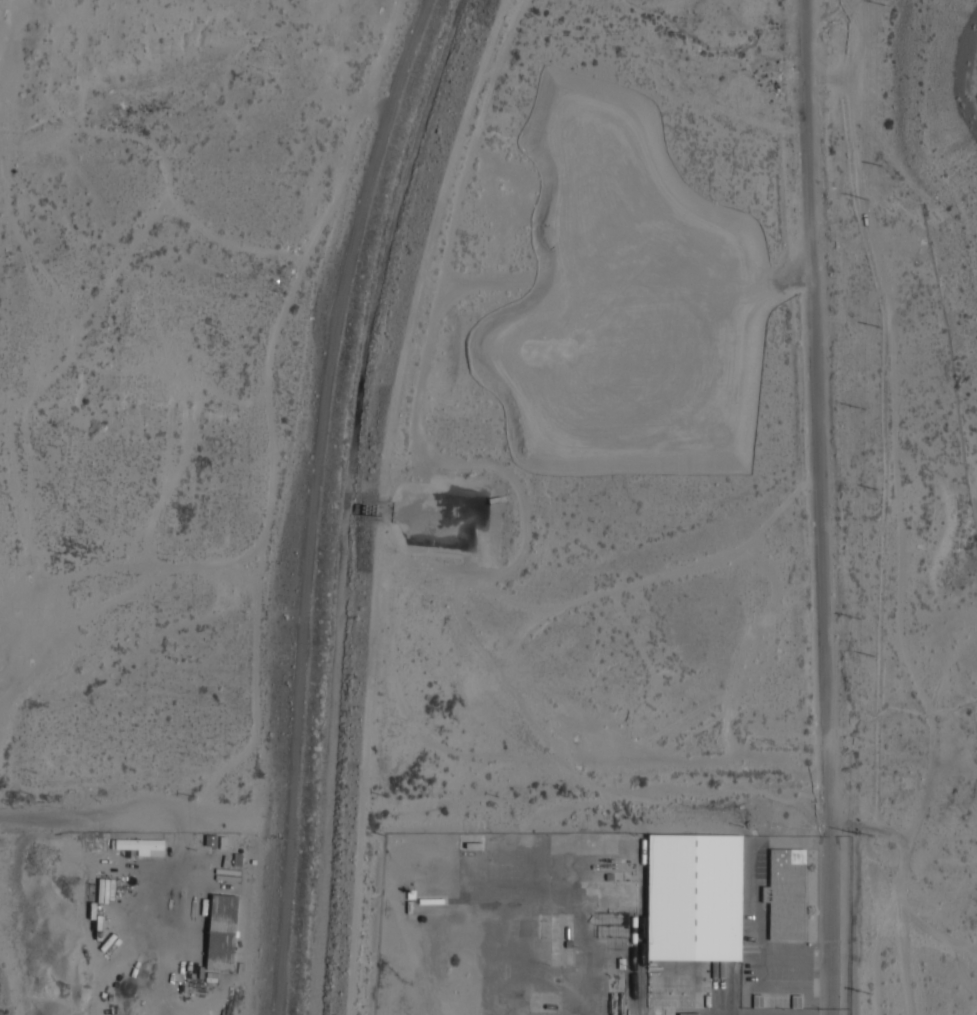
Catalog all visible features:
road: (820, 507)
road: (113, 816)
building: (139, 844)
building: (787, 893)
building: (695, 897)
railway: (642, 925)
building: (614, 927)
building: (222, 932)

